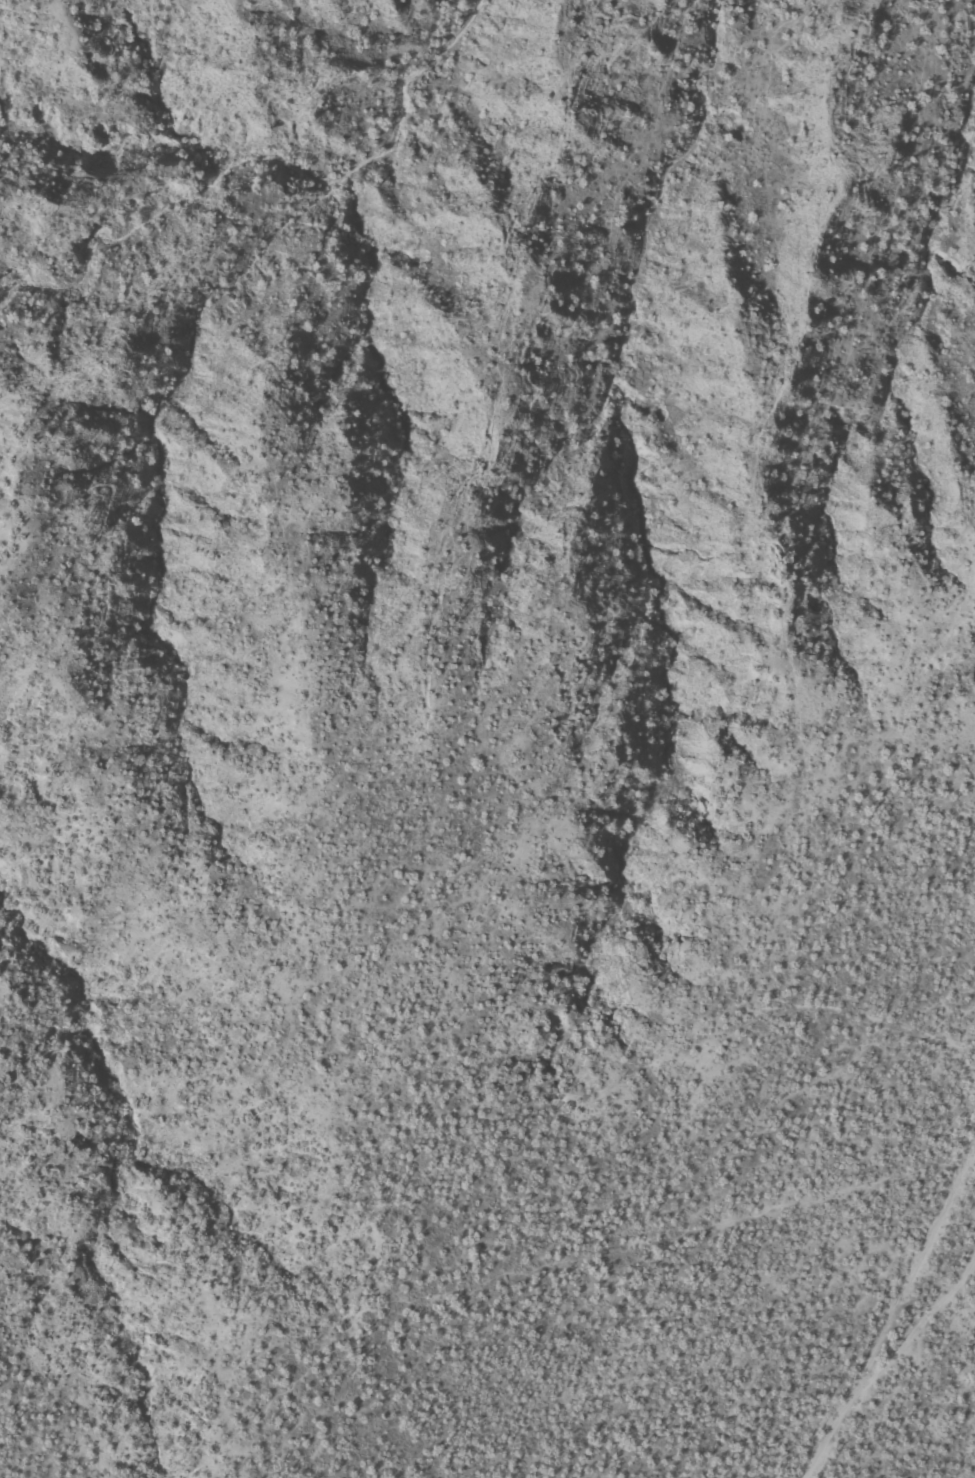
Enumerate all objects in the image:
road: (865, 1266)

